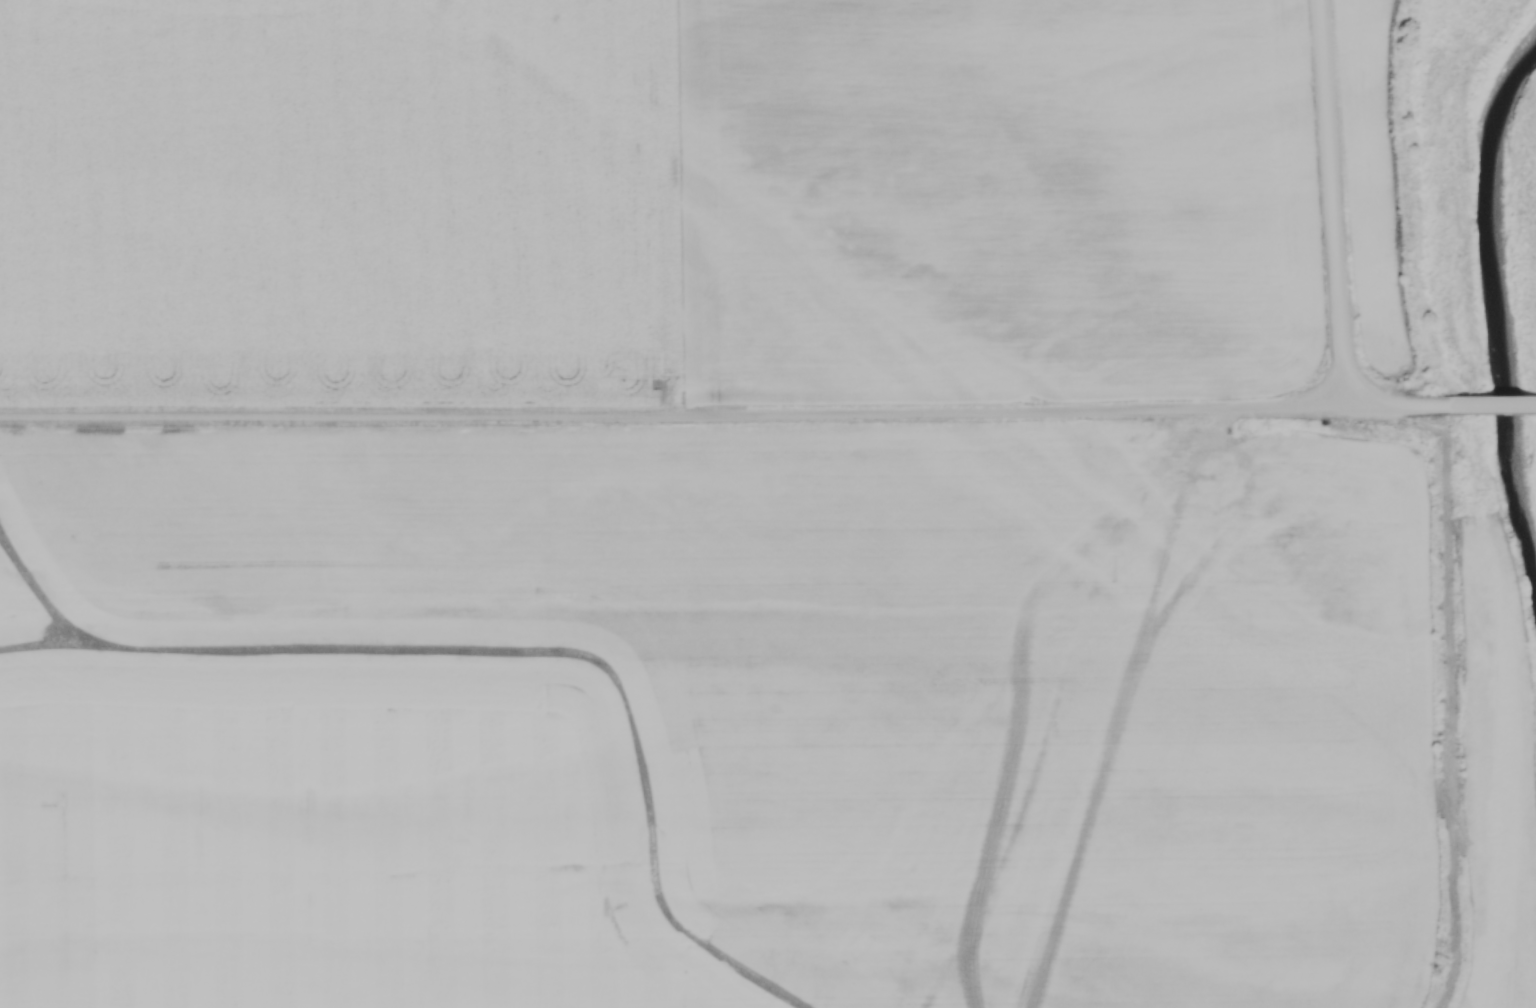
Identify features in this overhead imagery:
road: (1334, 199)
river: (1502, 311)
road: (1403, 402)
road: (676, 406)
road: (1495, 406)

